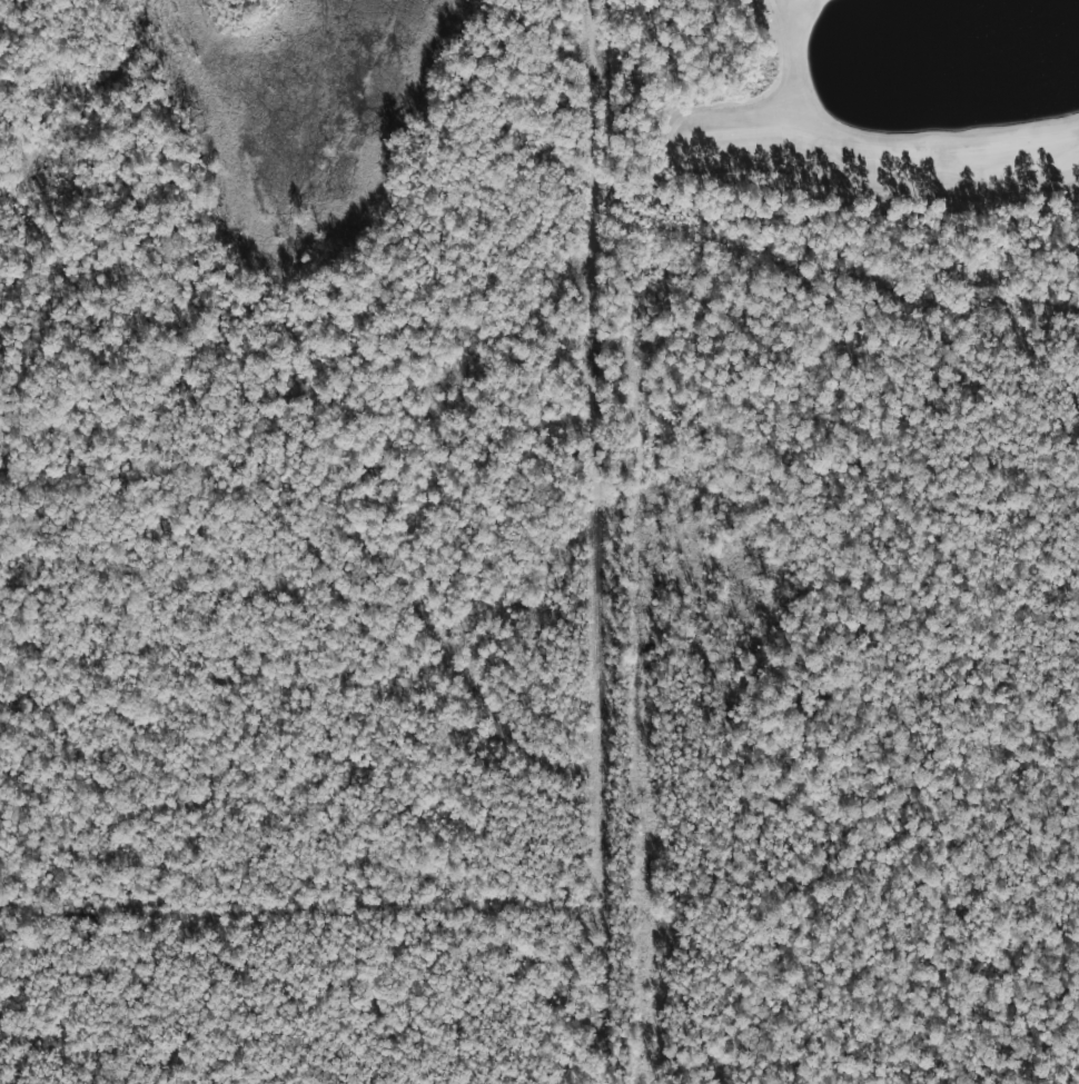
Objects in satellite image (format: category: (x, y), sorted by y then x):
park: (835, 108)
park: (835, 108)

